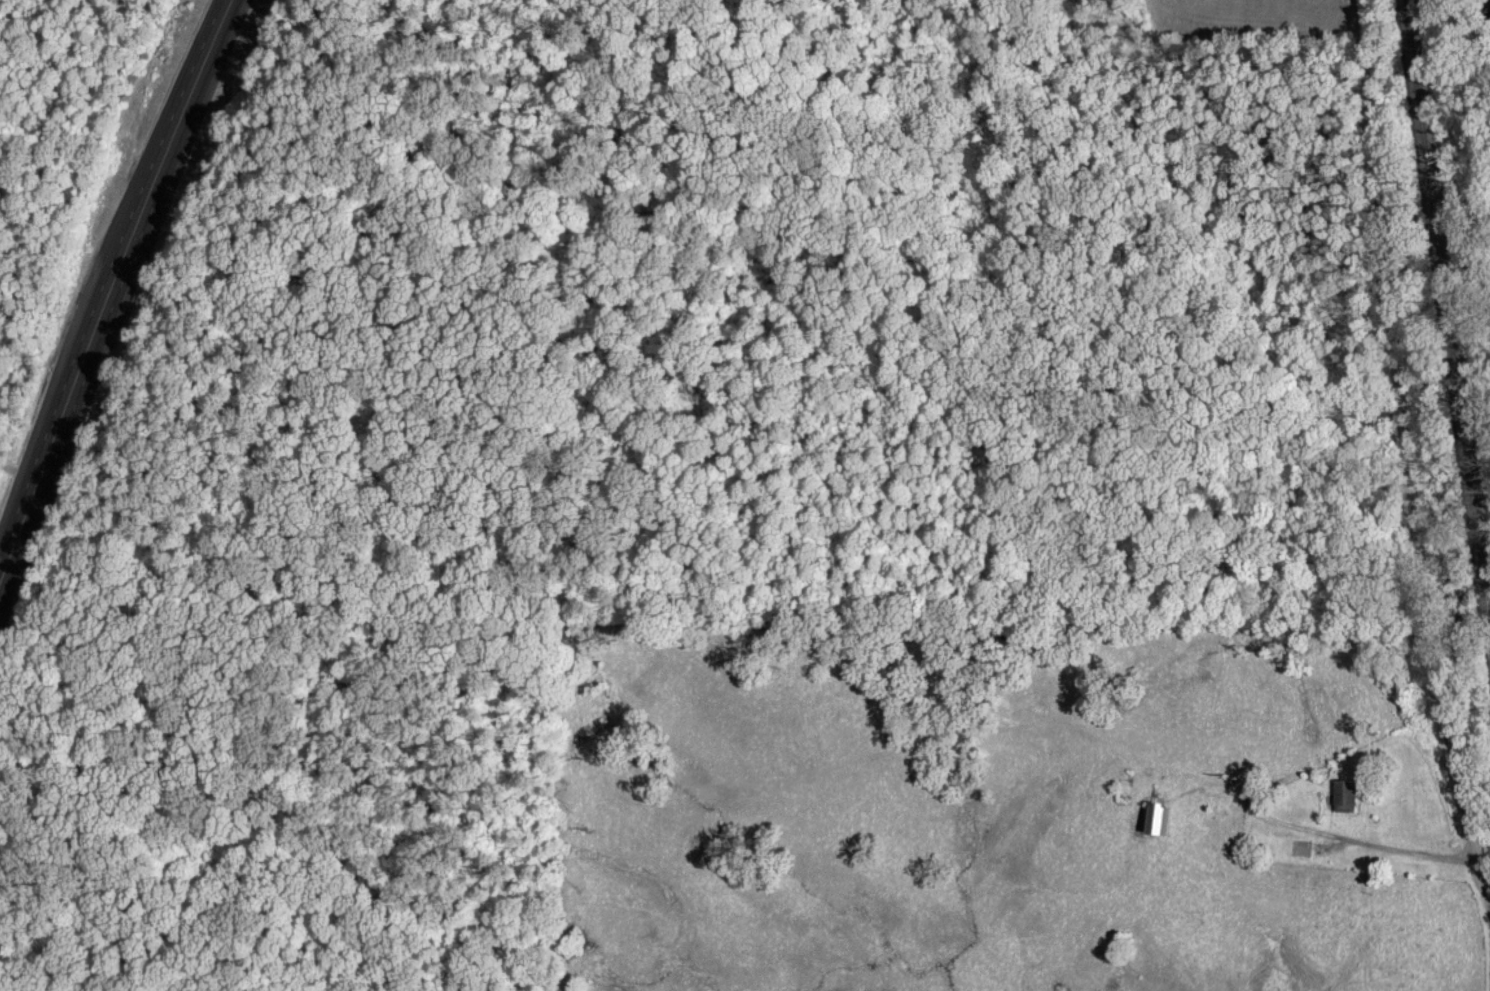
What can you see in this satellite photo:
road: (116, 279)
railway: (1445, 316)
road: (1414, 467)
building: (1342, 795)
building: (1153, 820)
road: (1382, 845)
building: (1299, 848)

